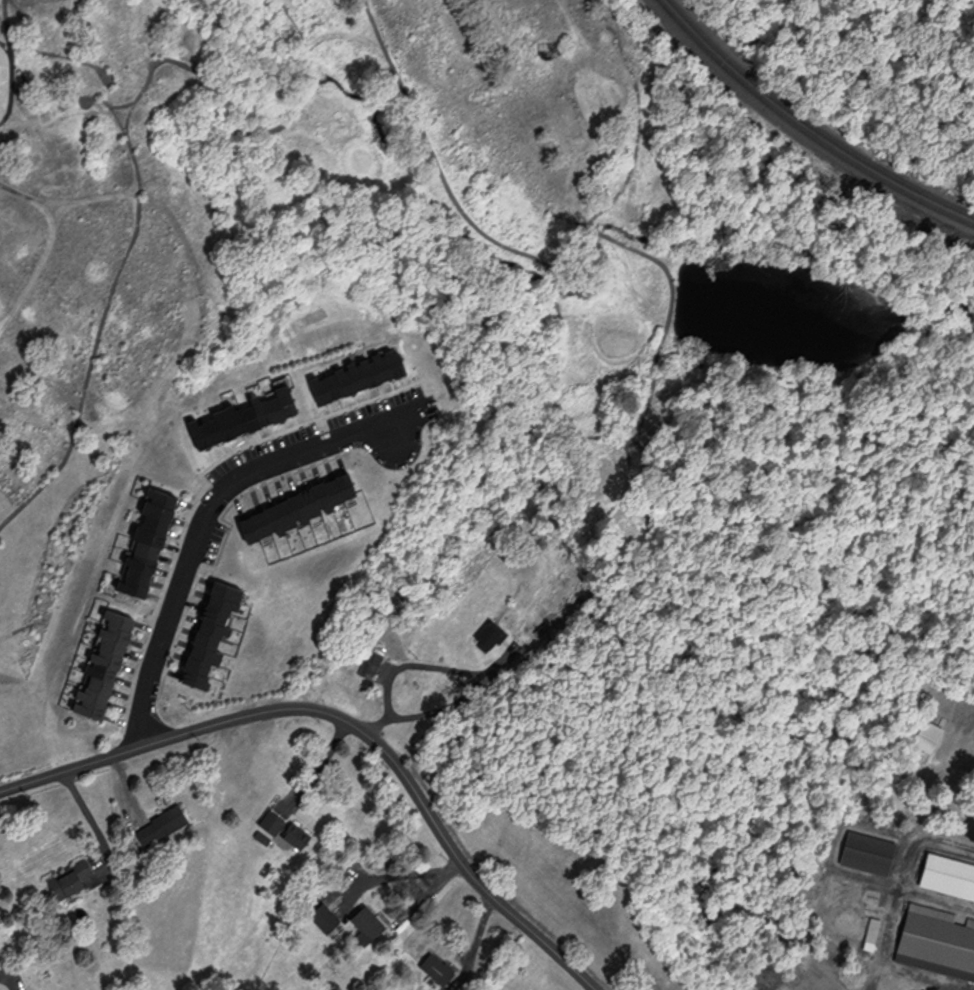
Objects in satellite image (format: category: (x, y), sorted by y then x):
railway: (812, 123)
railway: (805, 129)
park: (90, 391)
building: (249, 419)
road: (211, 509)
building: (151, 544)
building: (216, 633)
building: (492, 638)
road: (418, 664)
building: (107, 666)
building: (373, 666)
road: (452, 702)
road: (351, 721)
building: (932, 738)
road: (319, 767)
road: (91, 820)
building: (165, 828)
building: (287, 832)
building: (950, 877)
building: (73, 882)
building: (370, 927)
building: (939, 938)
building: (440, 971)

